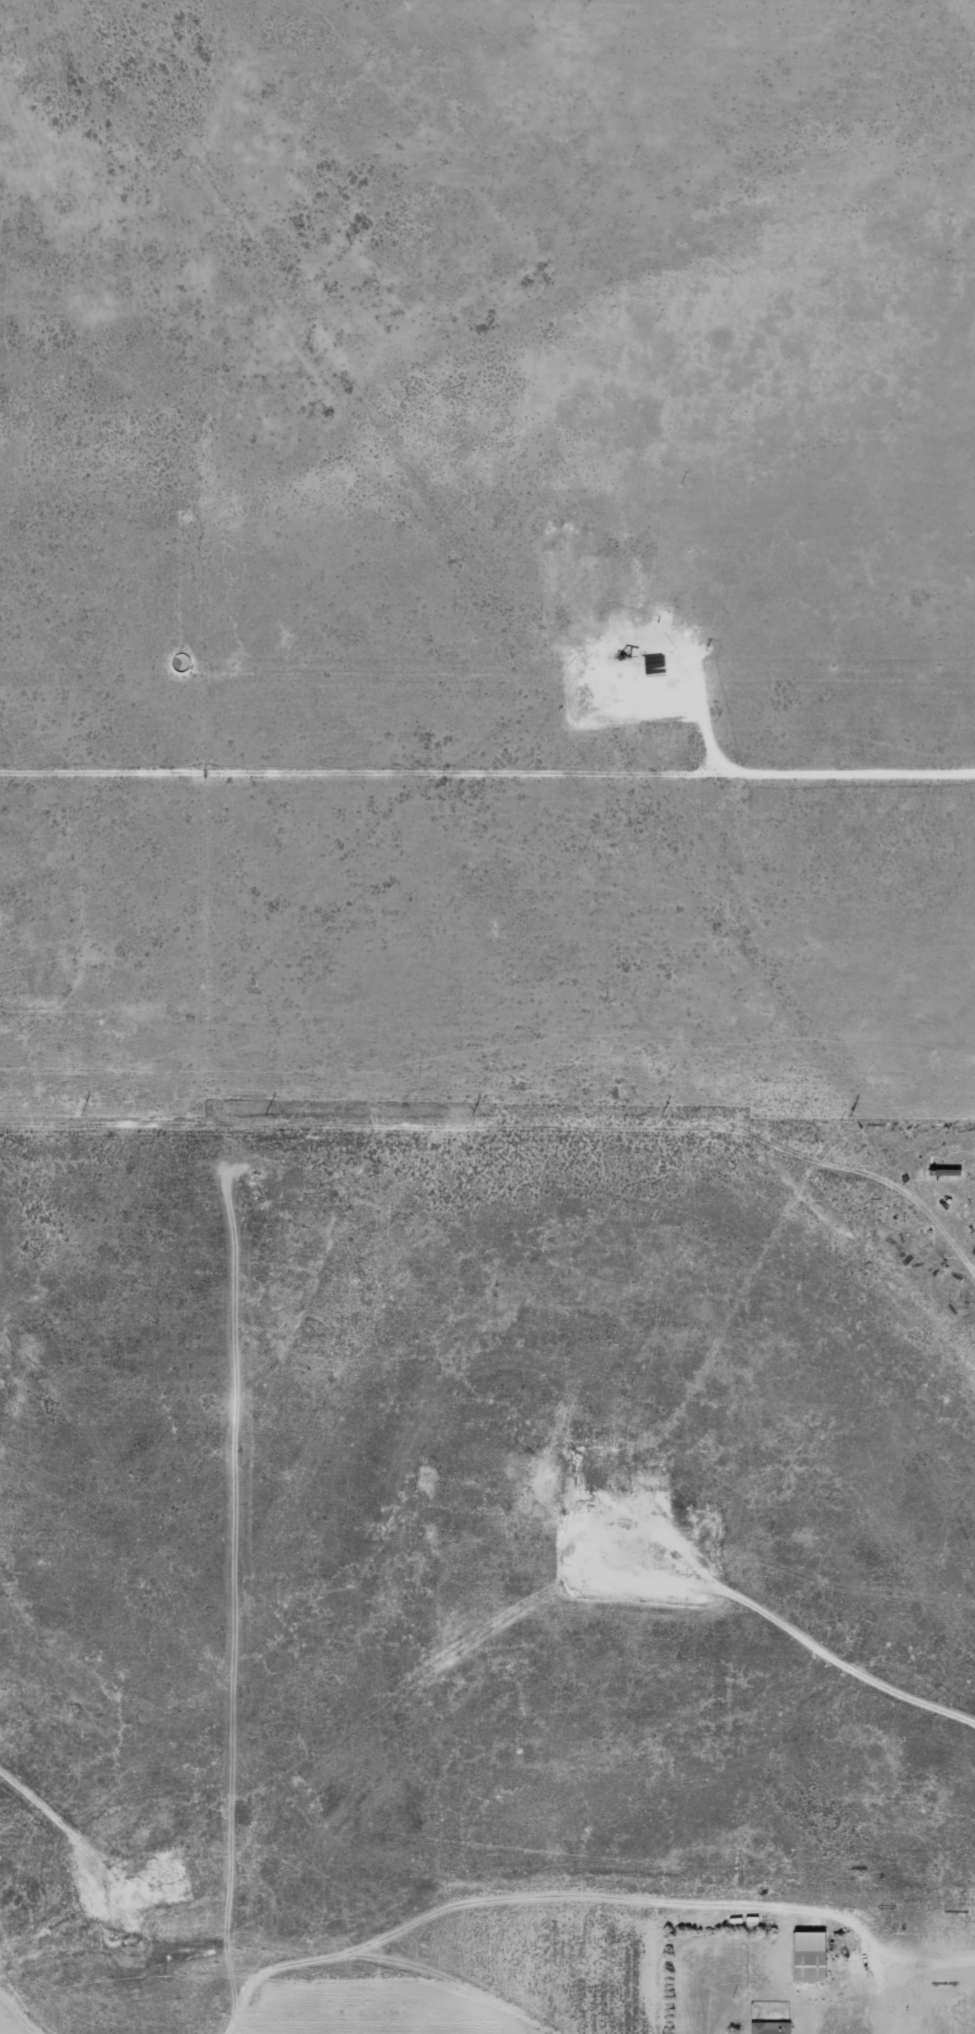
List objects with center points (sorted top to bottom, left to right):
road: (803, 2)
road: (2, 345)
road: (538, 609)
road: (679, 804)
road: (58, 833)

